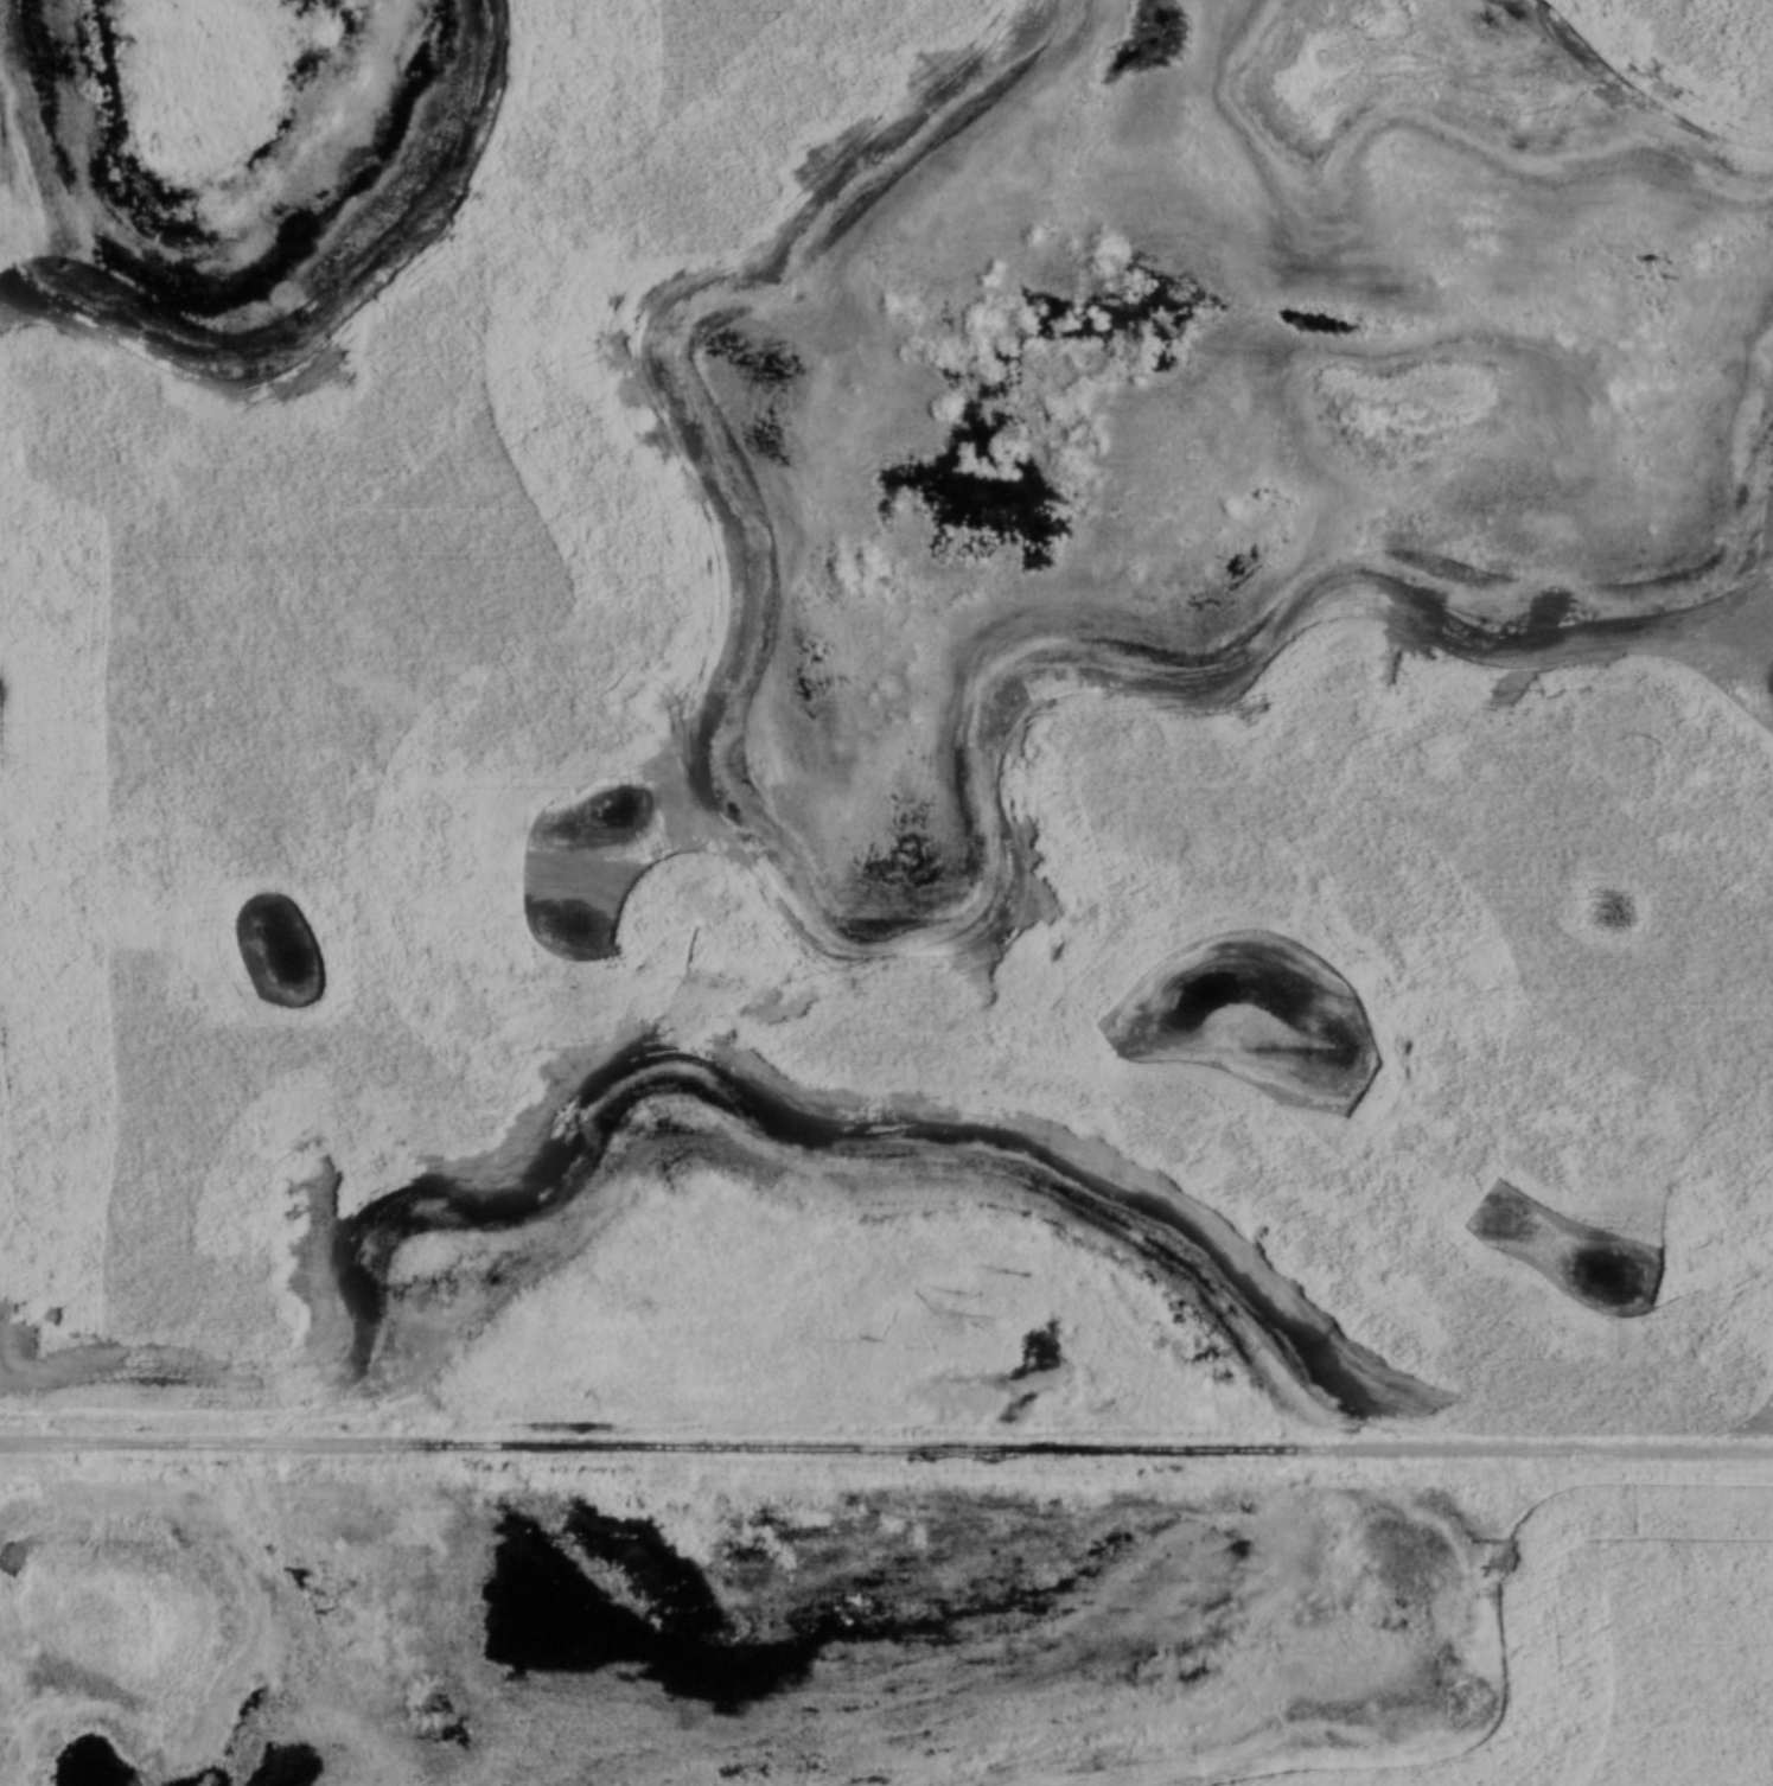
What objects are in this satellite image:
road: (886, 1463)

